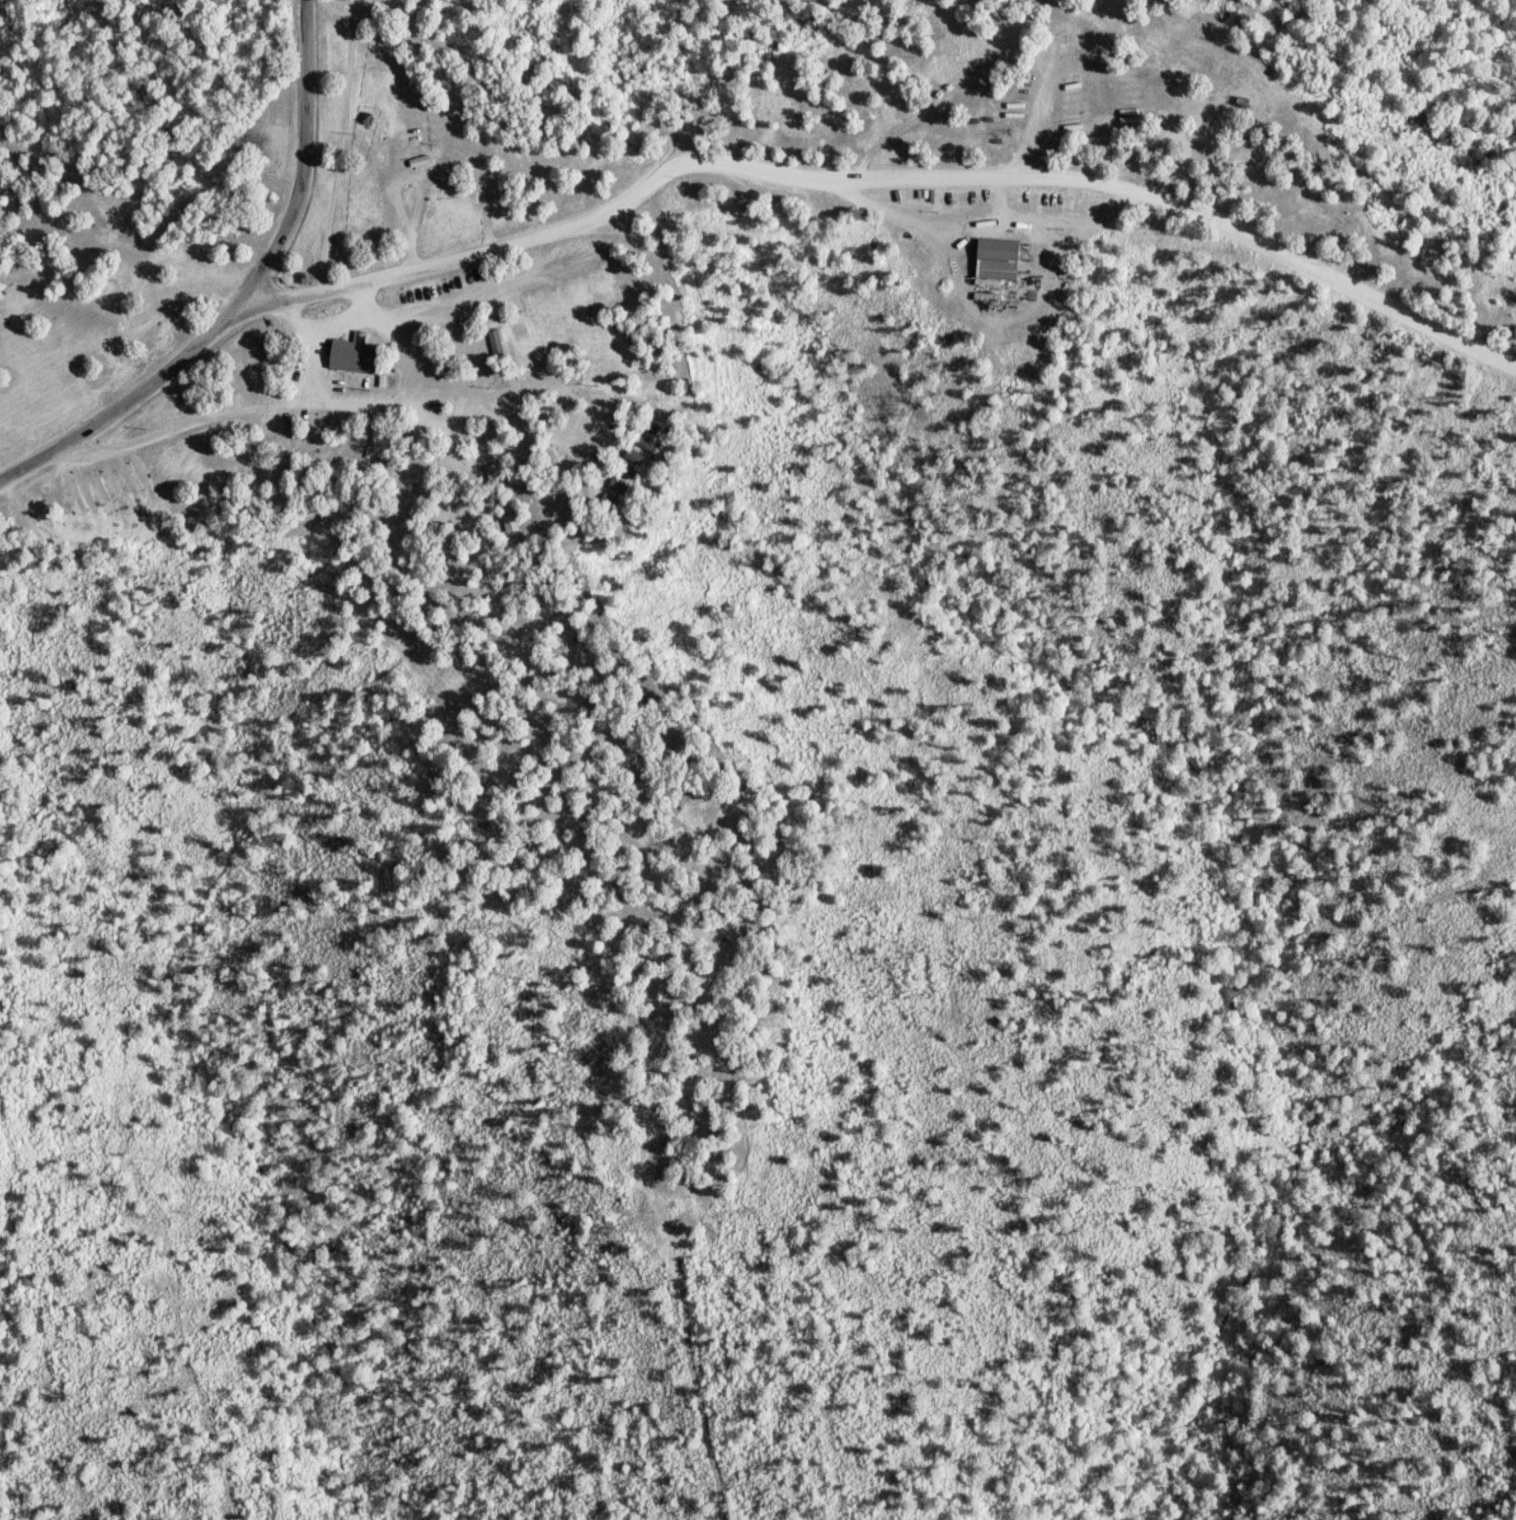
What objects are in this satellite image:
road: (969, 175)
road: (420, 196)
building: (998, 260)
road: (327, 291)
road: (248, 298)
road: (332, 329)
building: (497, 342)
parking lot: (325, 353)
building: (362, 355)
road: (321, 369)
road: (321, 402)
building: (494, 473)
building: (92, 500)
building: (512, 524)

